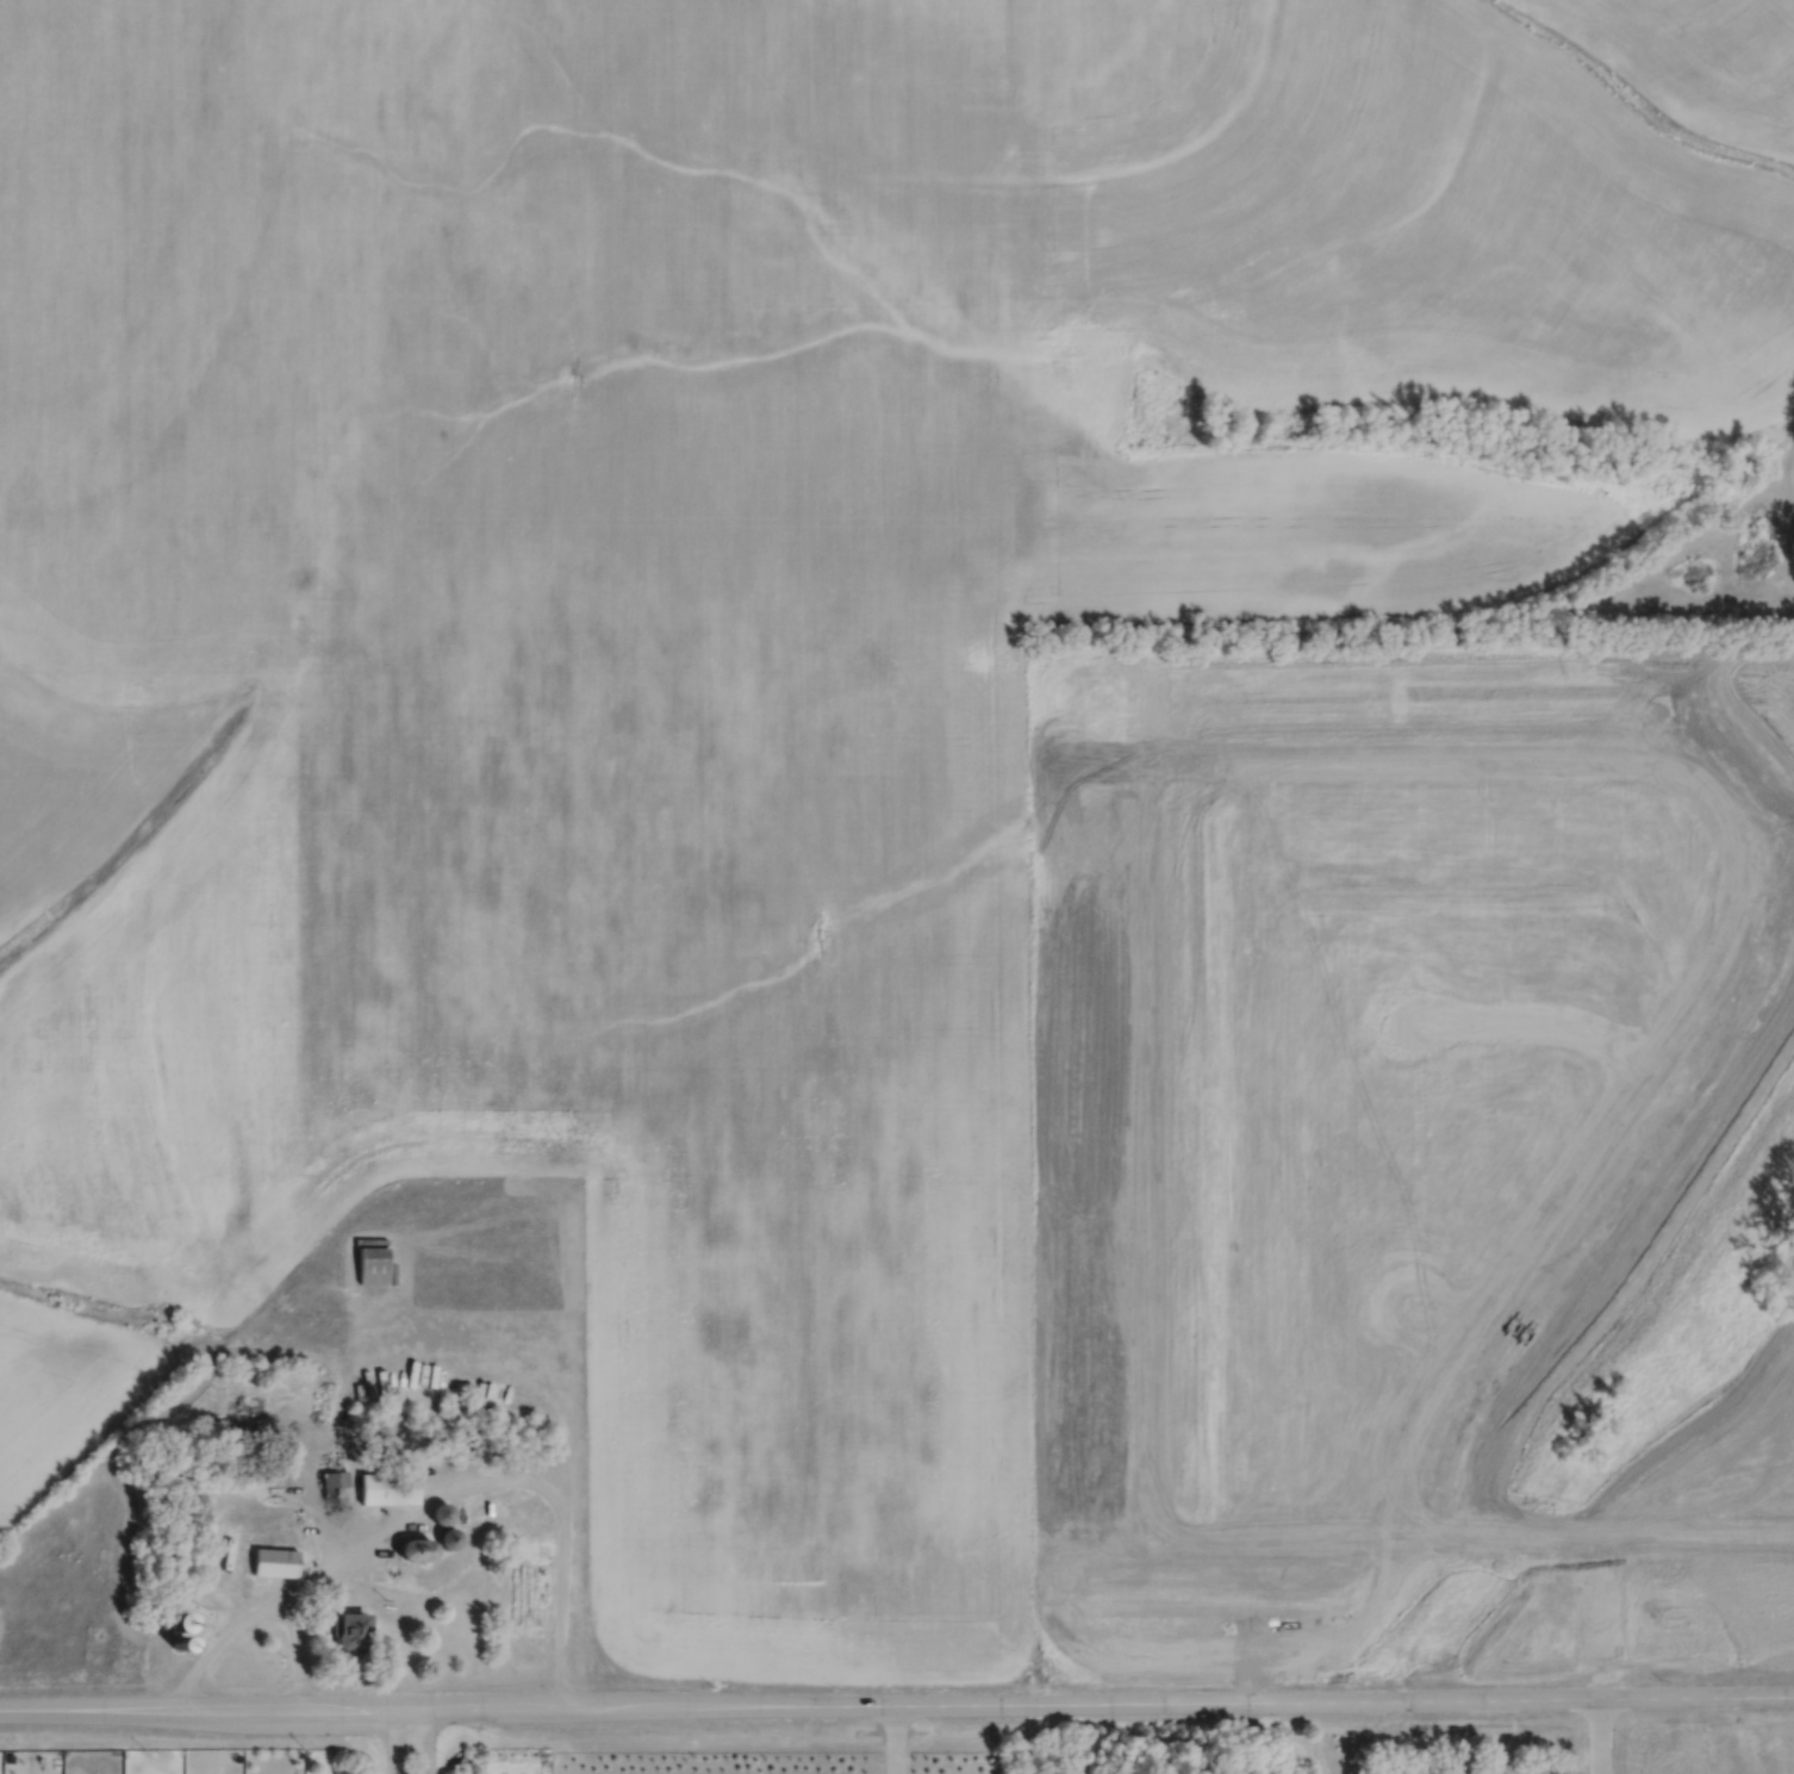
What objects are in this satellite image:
road: (1382, 757)
crop: (532, 784)
road: (1532, 1019)
road: (1146, 1103)
road: (1525, 1237)
building: (372, 1263)
road: (1431, 1319)
building: (332, 1477)
road: (461, 1481)
building: (387, 1487)
building: (441, 1511)
building: (448, 1536)
road: (1667, 1542)
road: (1524, 1543)
road: (1277, 1544)
building: (416, 1548)
building: (273, 1562)
building: (183, 1618)
building: (162, 1619)
road: (230, 1630)
building: (349, 1631)
building: (177, 1639)
road: (1601, 1657)
road: (897, 1703)
road: (1250, 1737)
road: (892, 1738)
road: (398, 1739)
road: (419, 1739)
road: (1494, 1743)
building: (300, 1751)
building: (10, 1756)

